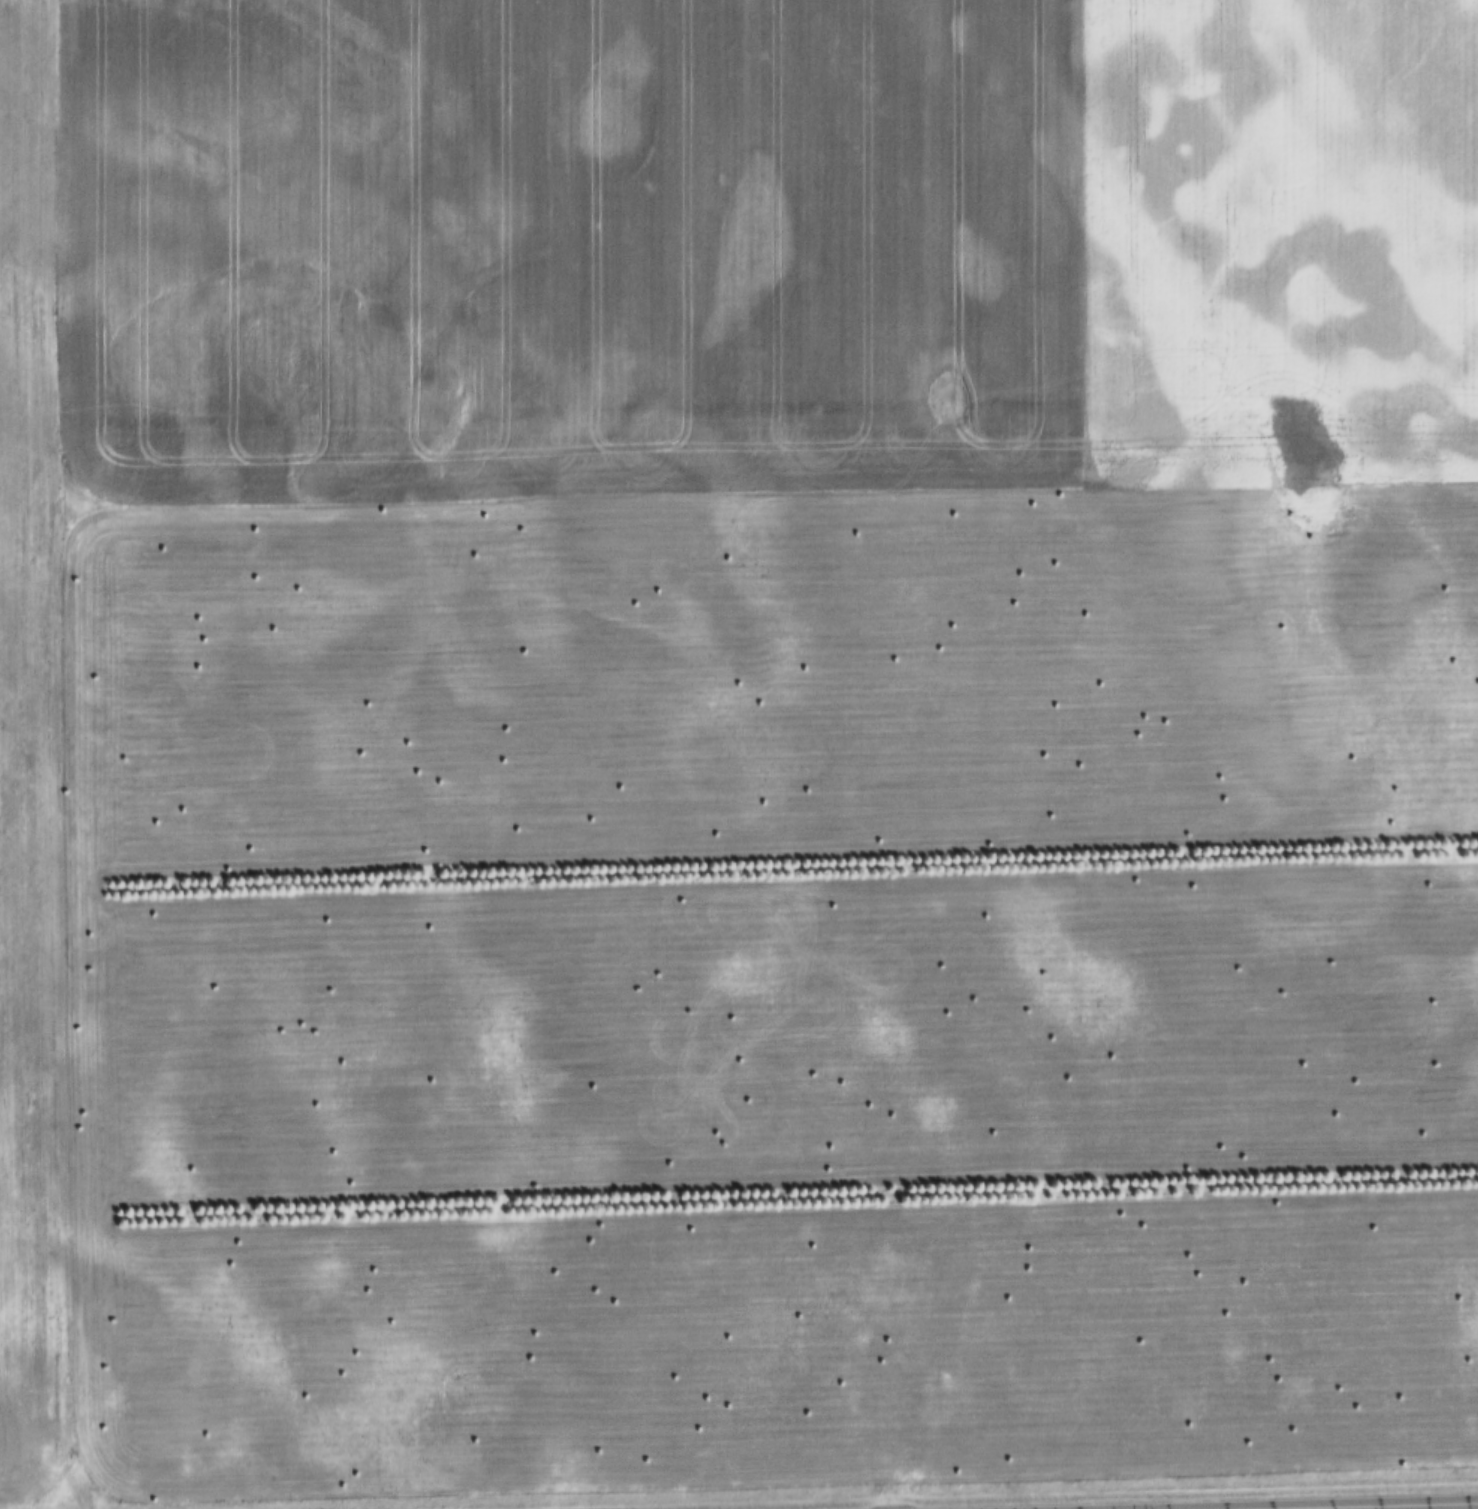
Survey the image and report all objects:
road: (1291, 1503)

